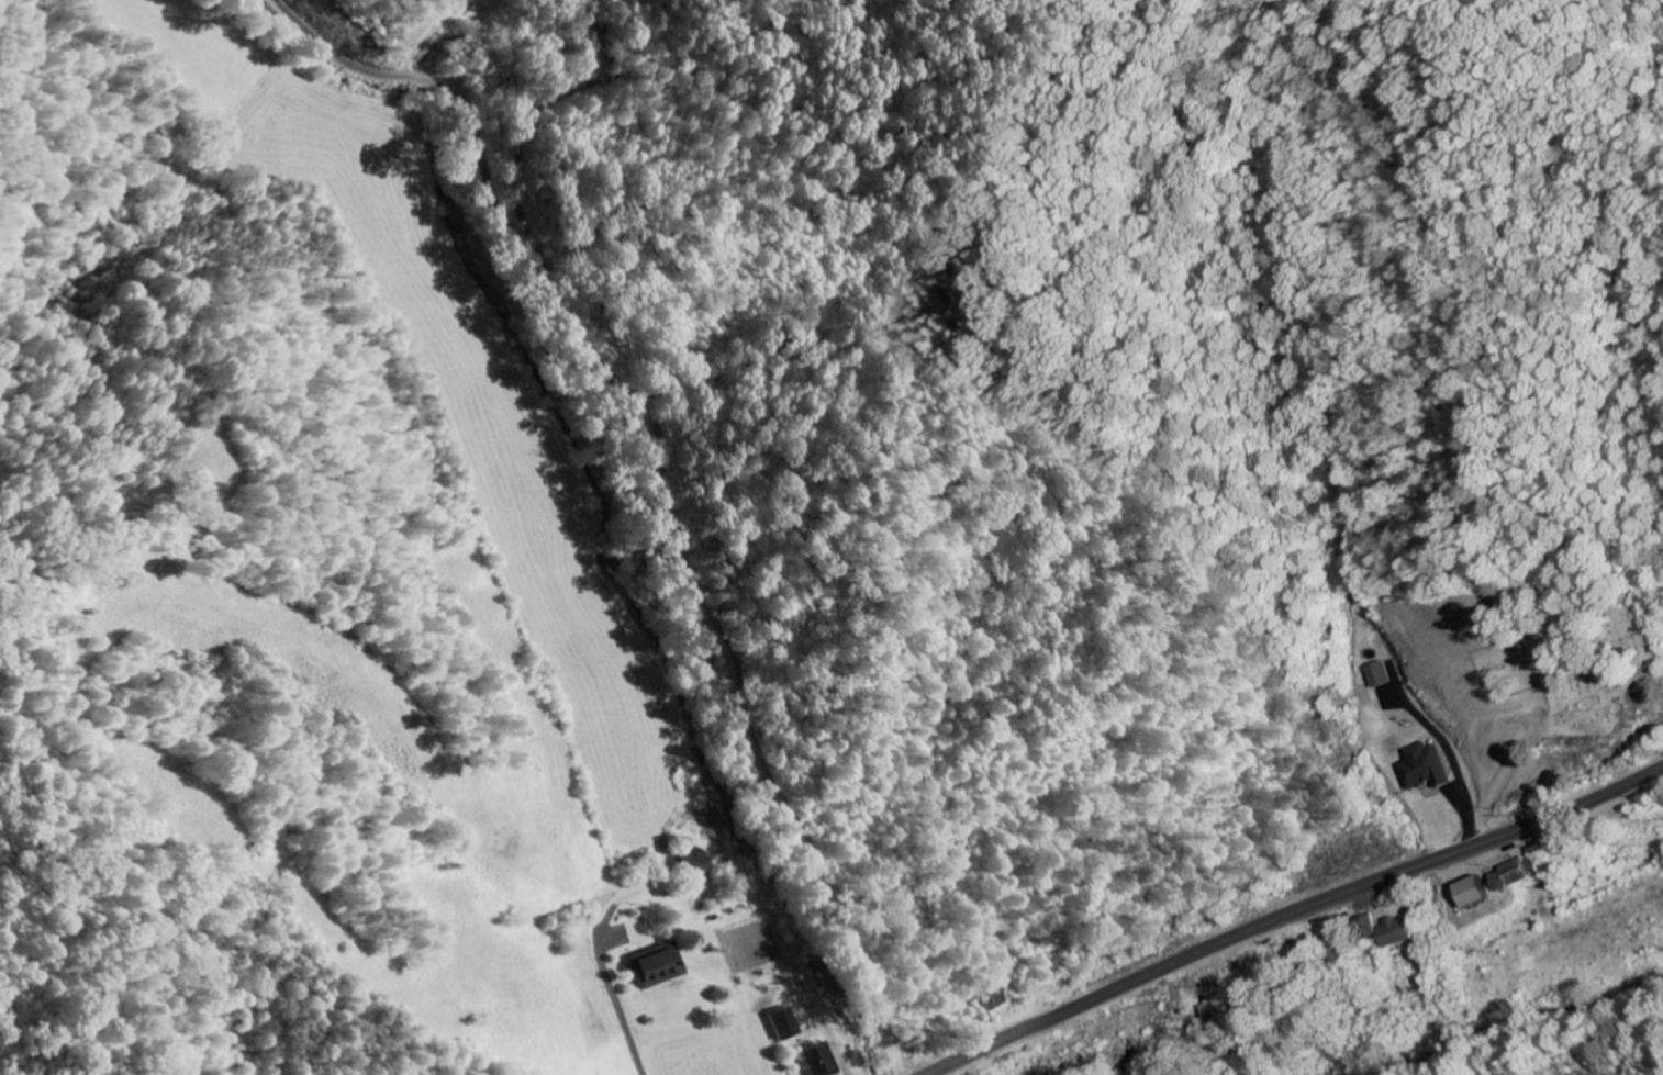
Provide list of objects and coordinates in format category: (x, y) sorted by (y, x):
road: (521, 124)
road: (661, 477)
park: (1563, 643)
building: (1374, 674)
building: (1425, 766)
road: (1499, 782)
building: (697, 863)
building: (1515, 873)
building: (1475, 892)
road: (1292, 910)
building: (1369, 927)
building: (1396, 932)
building: (660, 965)
building: (788, 1023)
building: (824, 1060)
road: (499, 1067)

